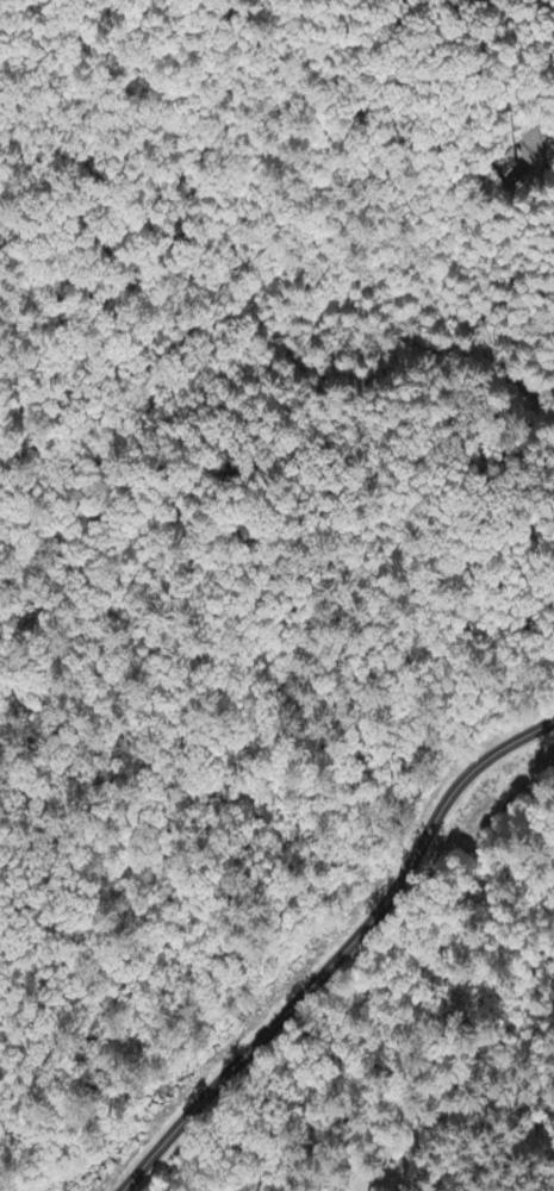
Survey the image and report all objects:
road: (340, 954)

